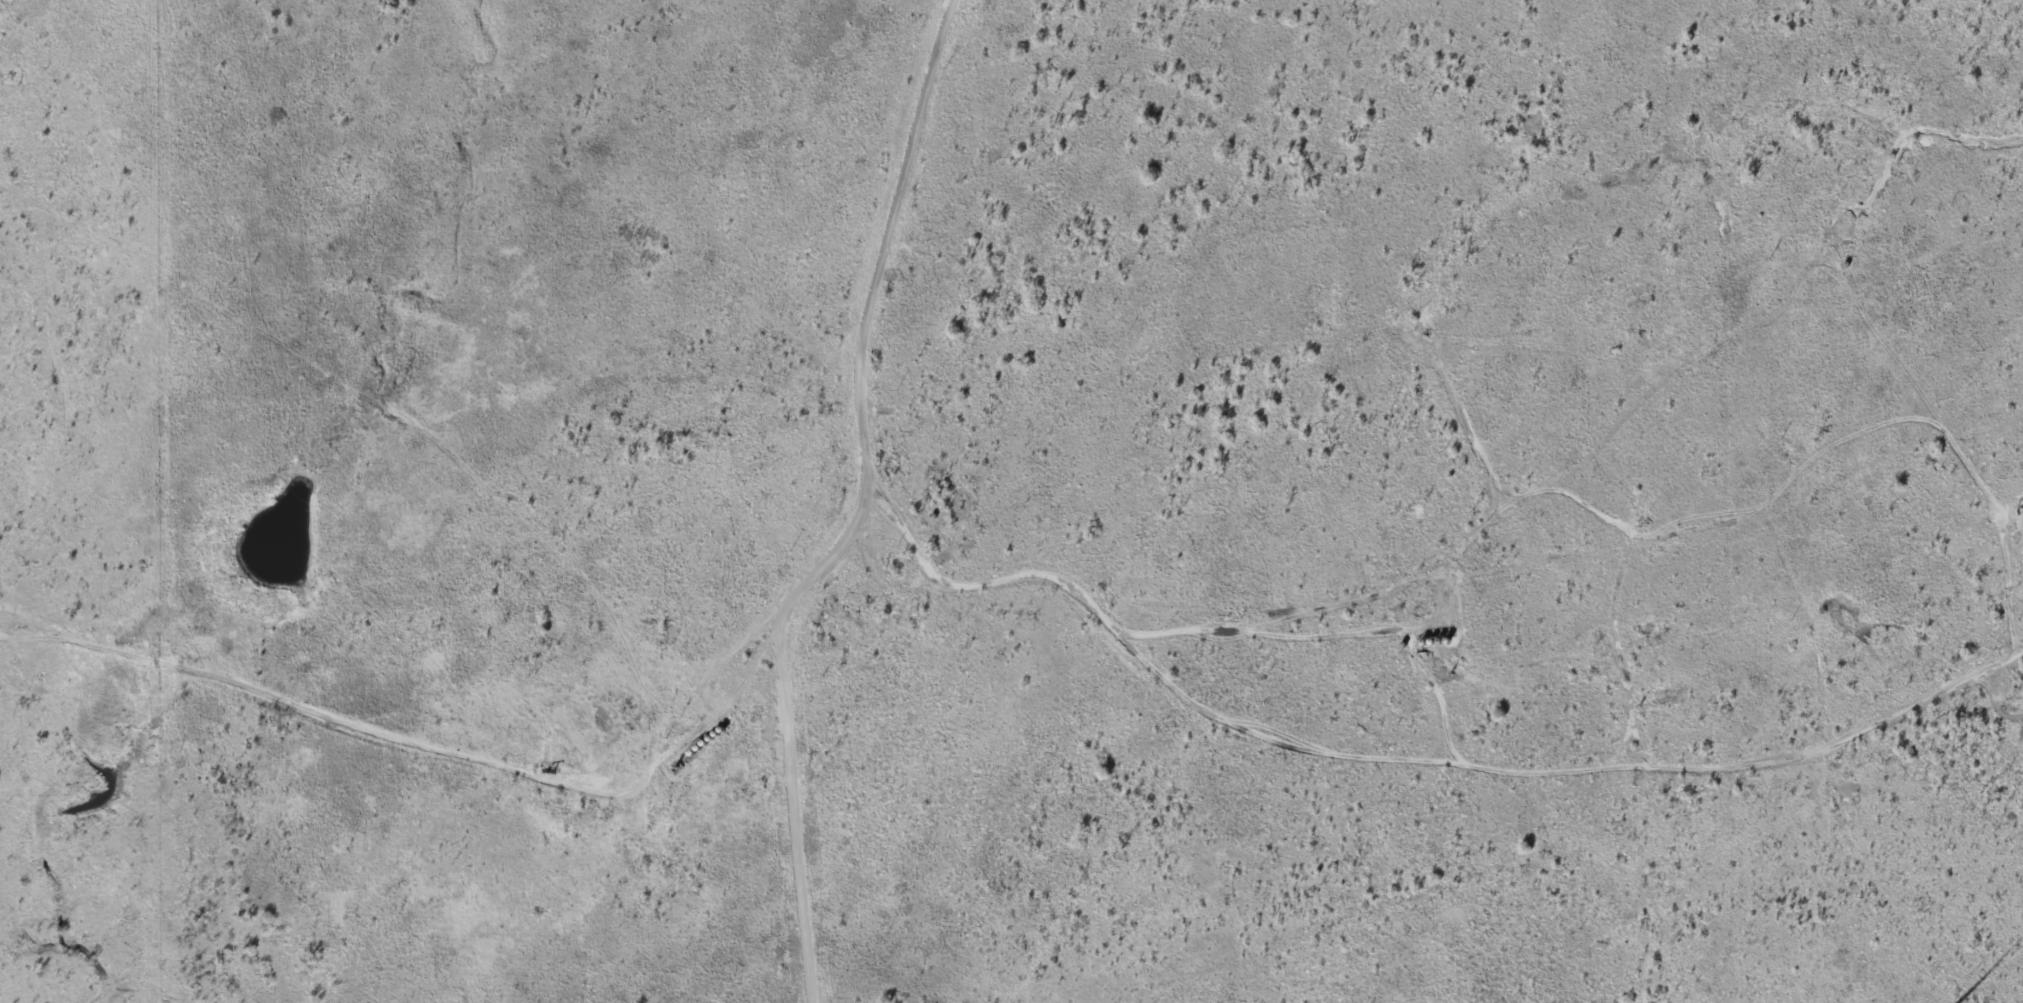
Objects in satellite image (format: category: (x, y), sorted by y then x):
road: (941, 554)
road: (740, 673)
road: (1421, 796)

